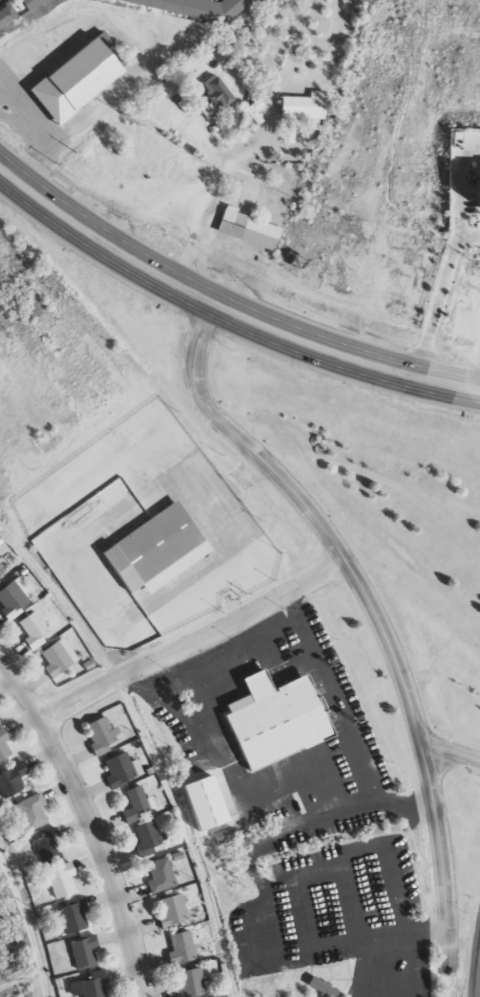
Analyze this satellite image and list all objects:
building: (34, 3)
building: (201, 6)
building: (8, 16)
building: (74, 75)
building: (220, 90)
building: (186, 104)
building: (308, 106)
building: (211, 109)
building: (257, 110)
building: (290, 135)
building: (246, 228)
road: (102, 242)
road: (434, 307)
road: (343, 355)
building: (156, 544)
building: (0, 574)
building: (10, 599)
road: (371, 610)
building: (29, 632)
road: (190, 640)
building: (54, 660)
building: (282, 715)
building: (97, 737)
road: (151, 743)
road: (449, 749)
building: (3, 751)
building: (114, 772)
building: (9, 781)
building: (211, 802)
building: (131, 807)
building: (24, 816)
road: (89, 827)
building: (143, 840)
building: (43, 848)
building: (157, 877)
building: (56, 883)
building: (169, 914)
building: (68, 919)
road: (26, 927)
building: (177, 951)
building: (80, 953)
building: (187, 984)
building: (90, 986)
building: (327, 987)

